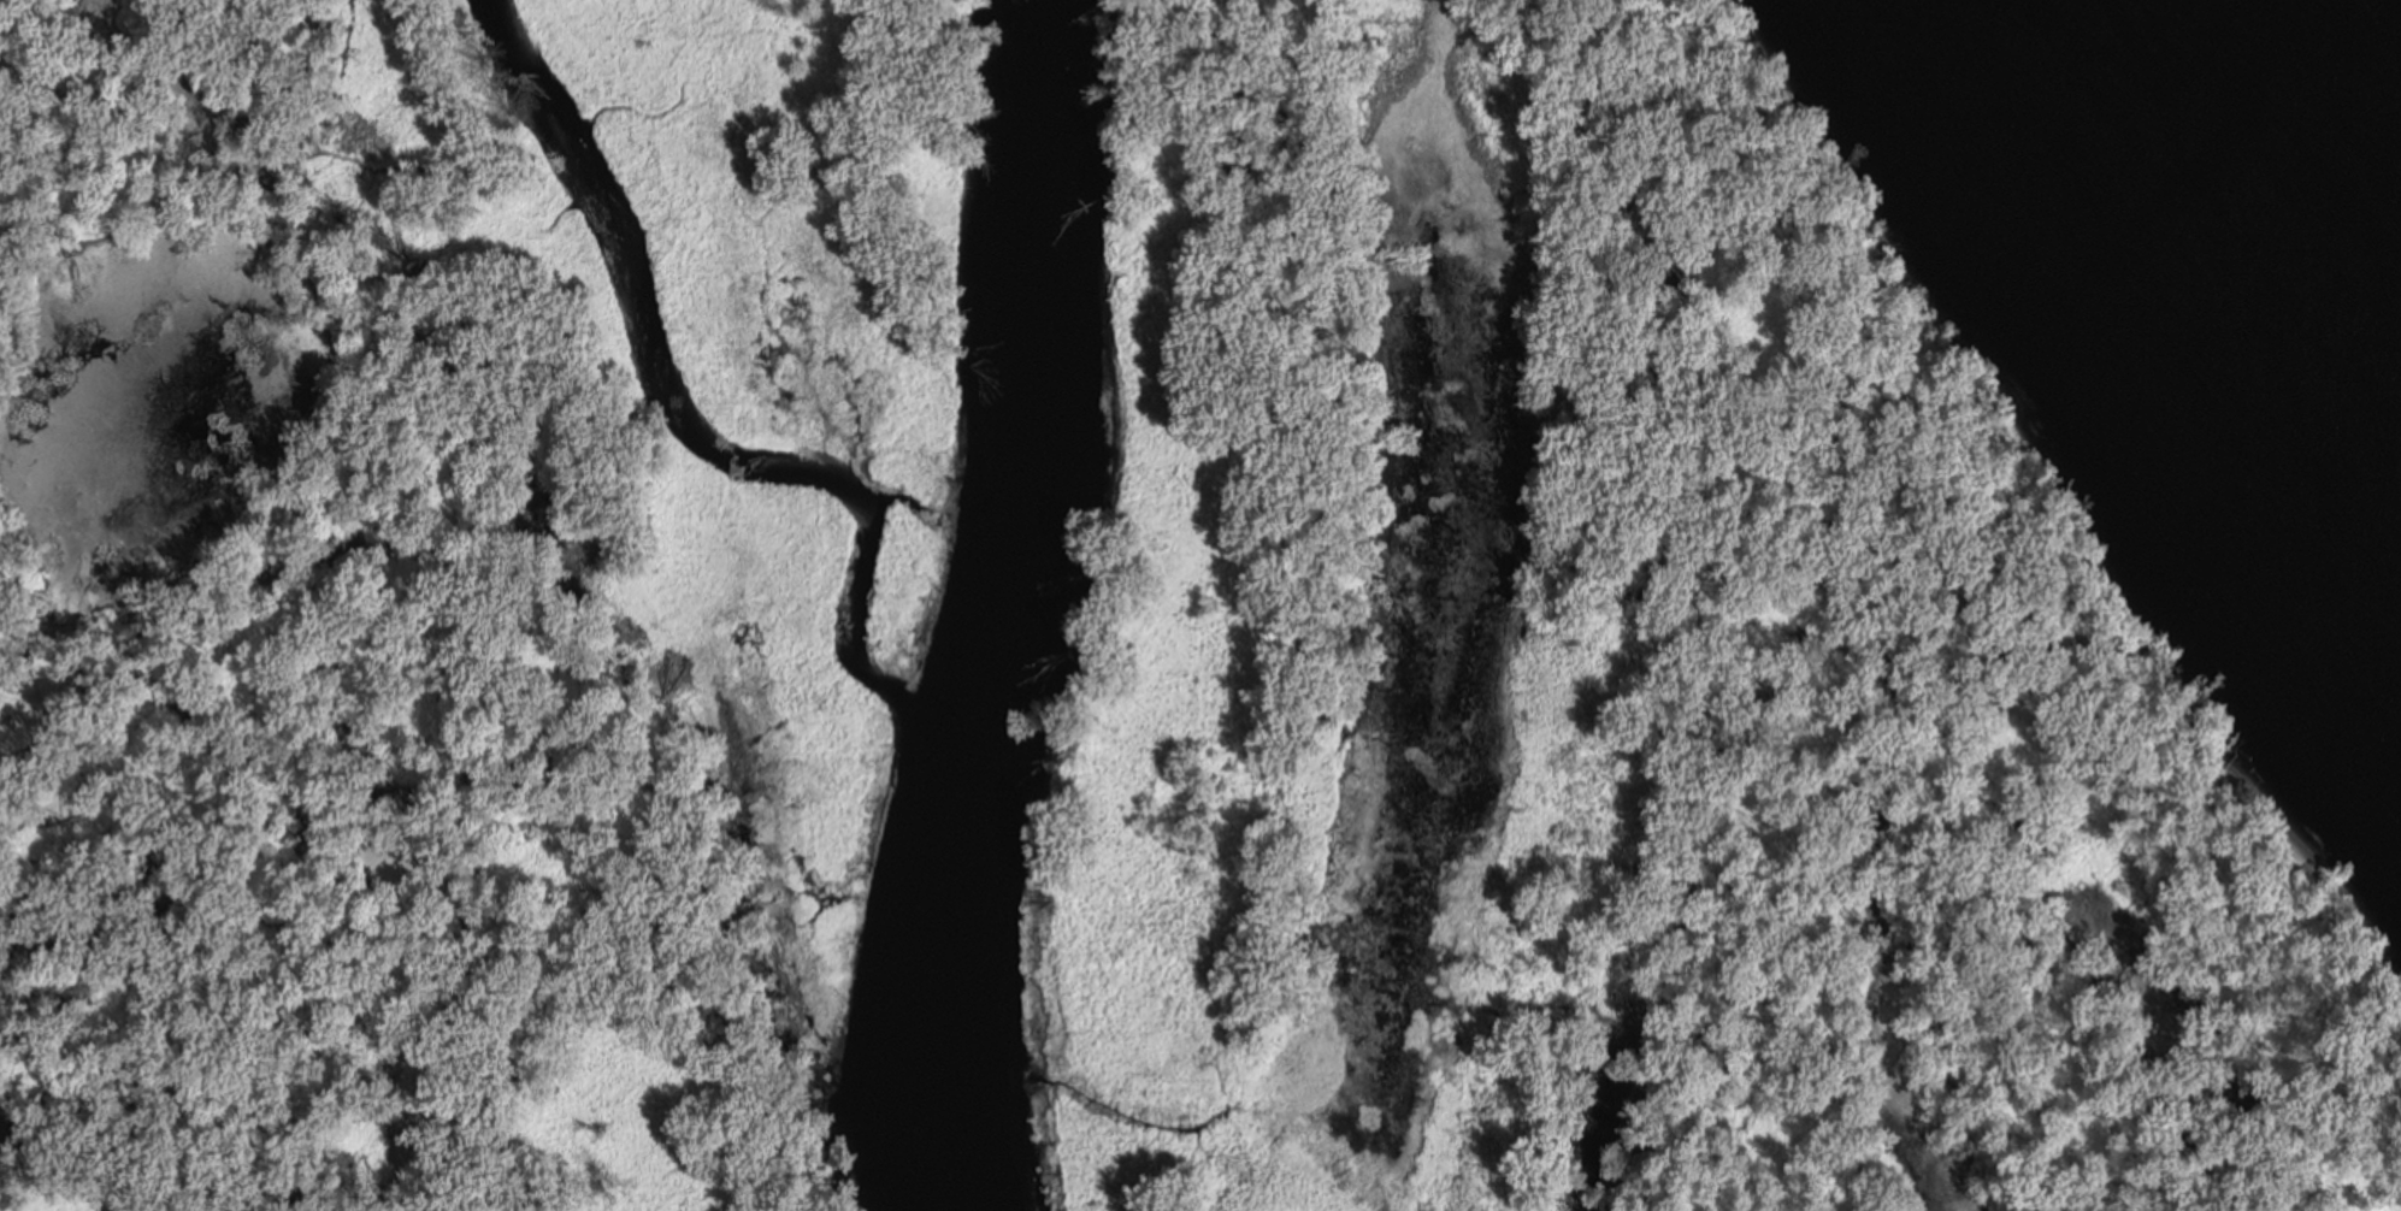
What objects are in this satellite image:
river: (2348, 72)

